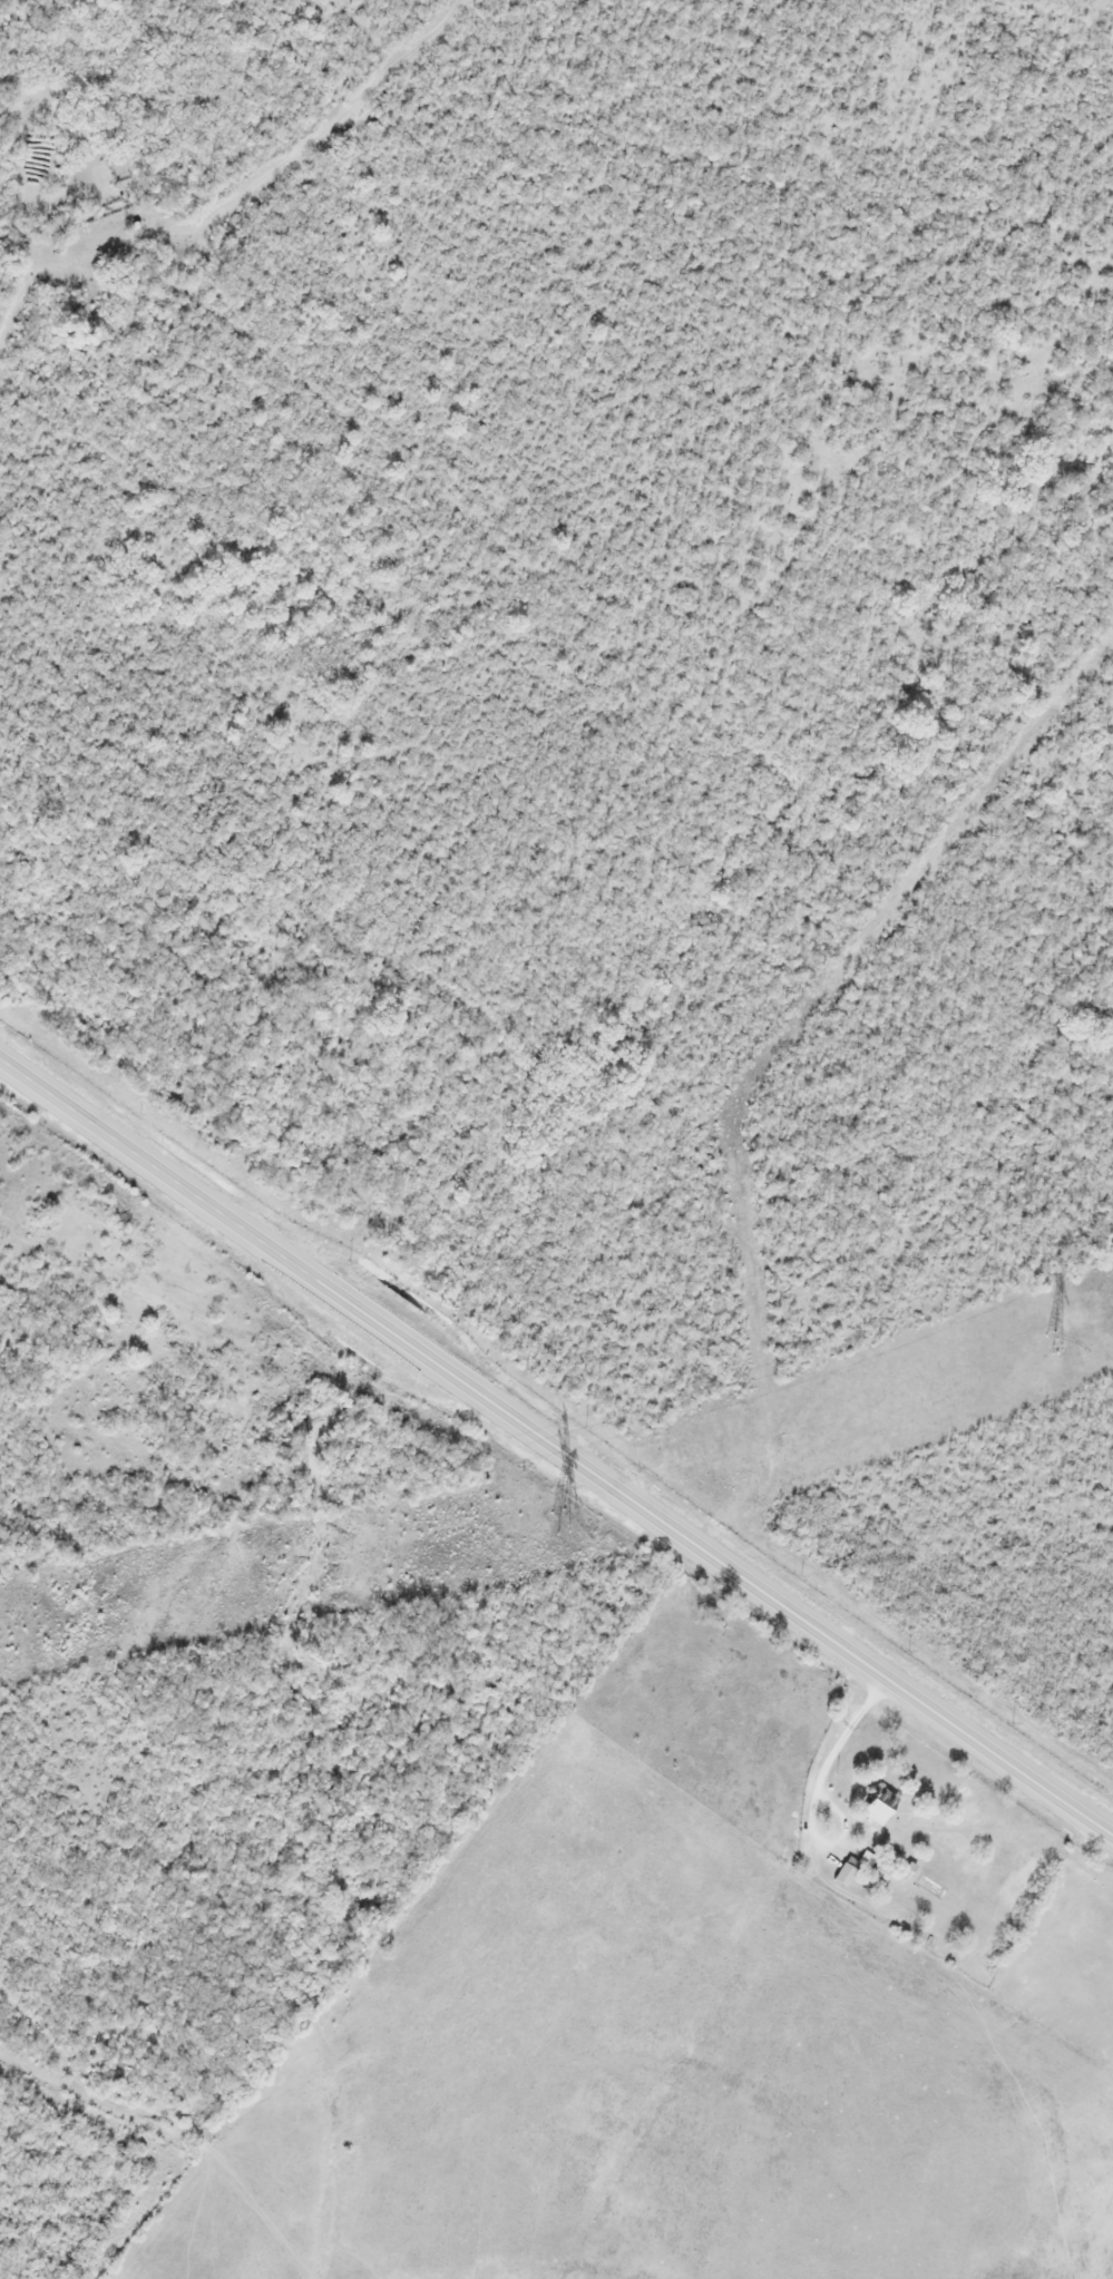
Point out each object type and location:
power tower: (1054, 1342)
road: (555, 1439)
power tower: (563, 1524)
building: (883, 1802)
building: (847, 1871)

